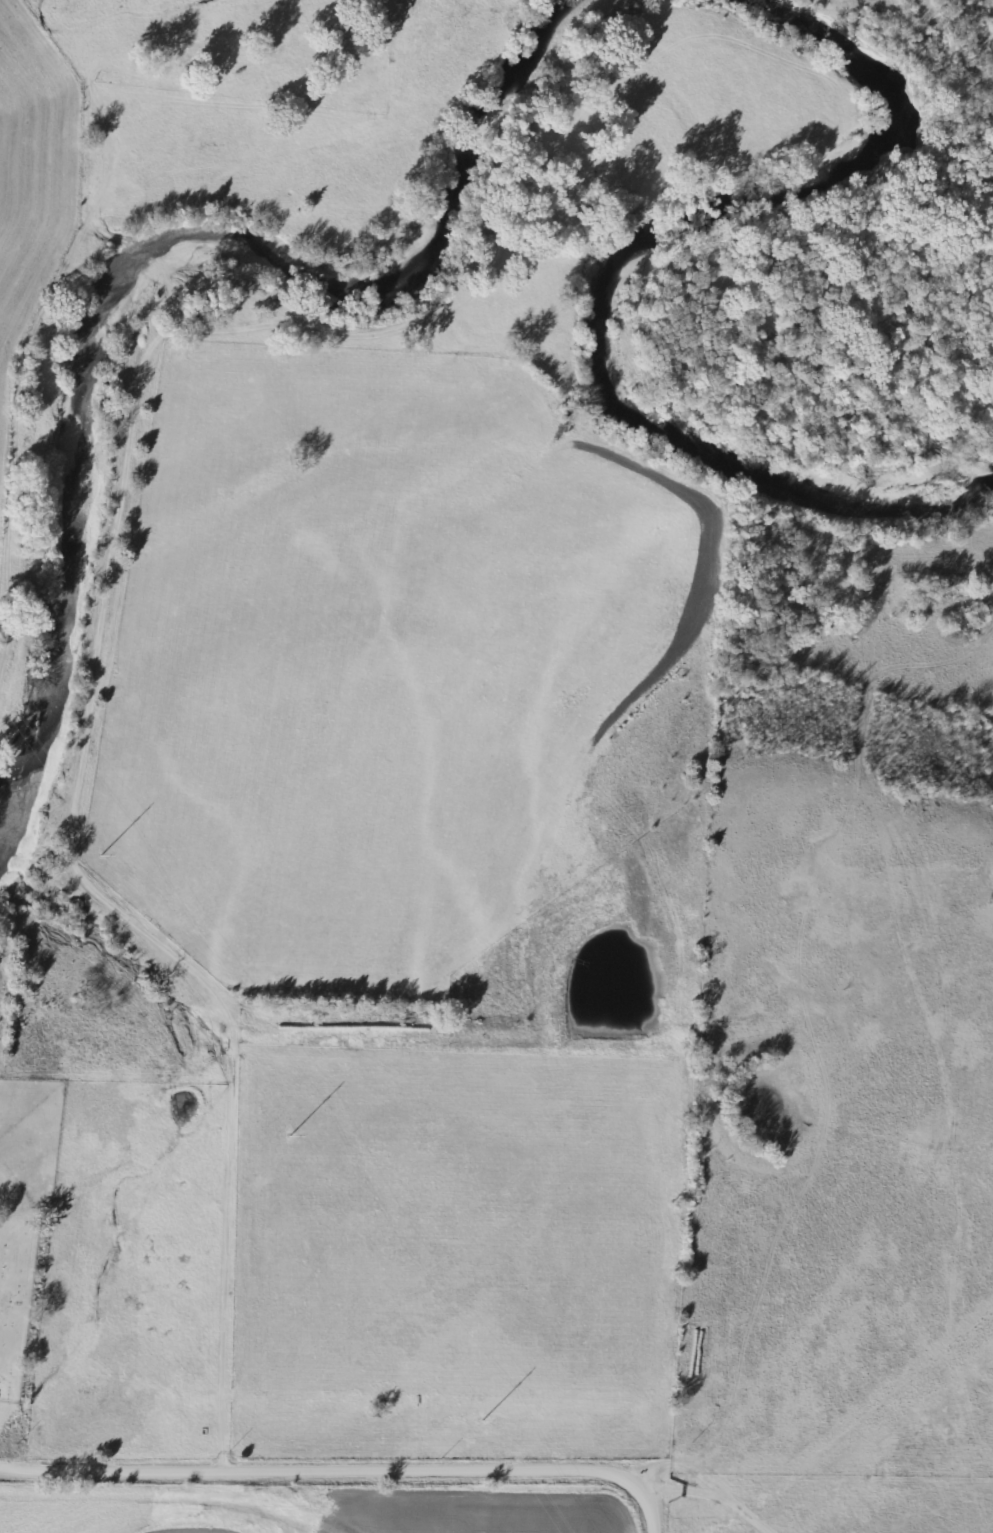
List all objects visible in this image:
river: (139, 257)
river: (609, 276)
park: (18, 1301)
road: (345, 1467)
road: (707, 1482)

